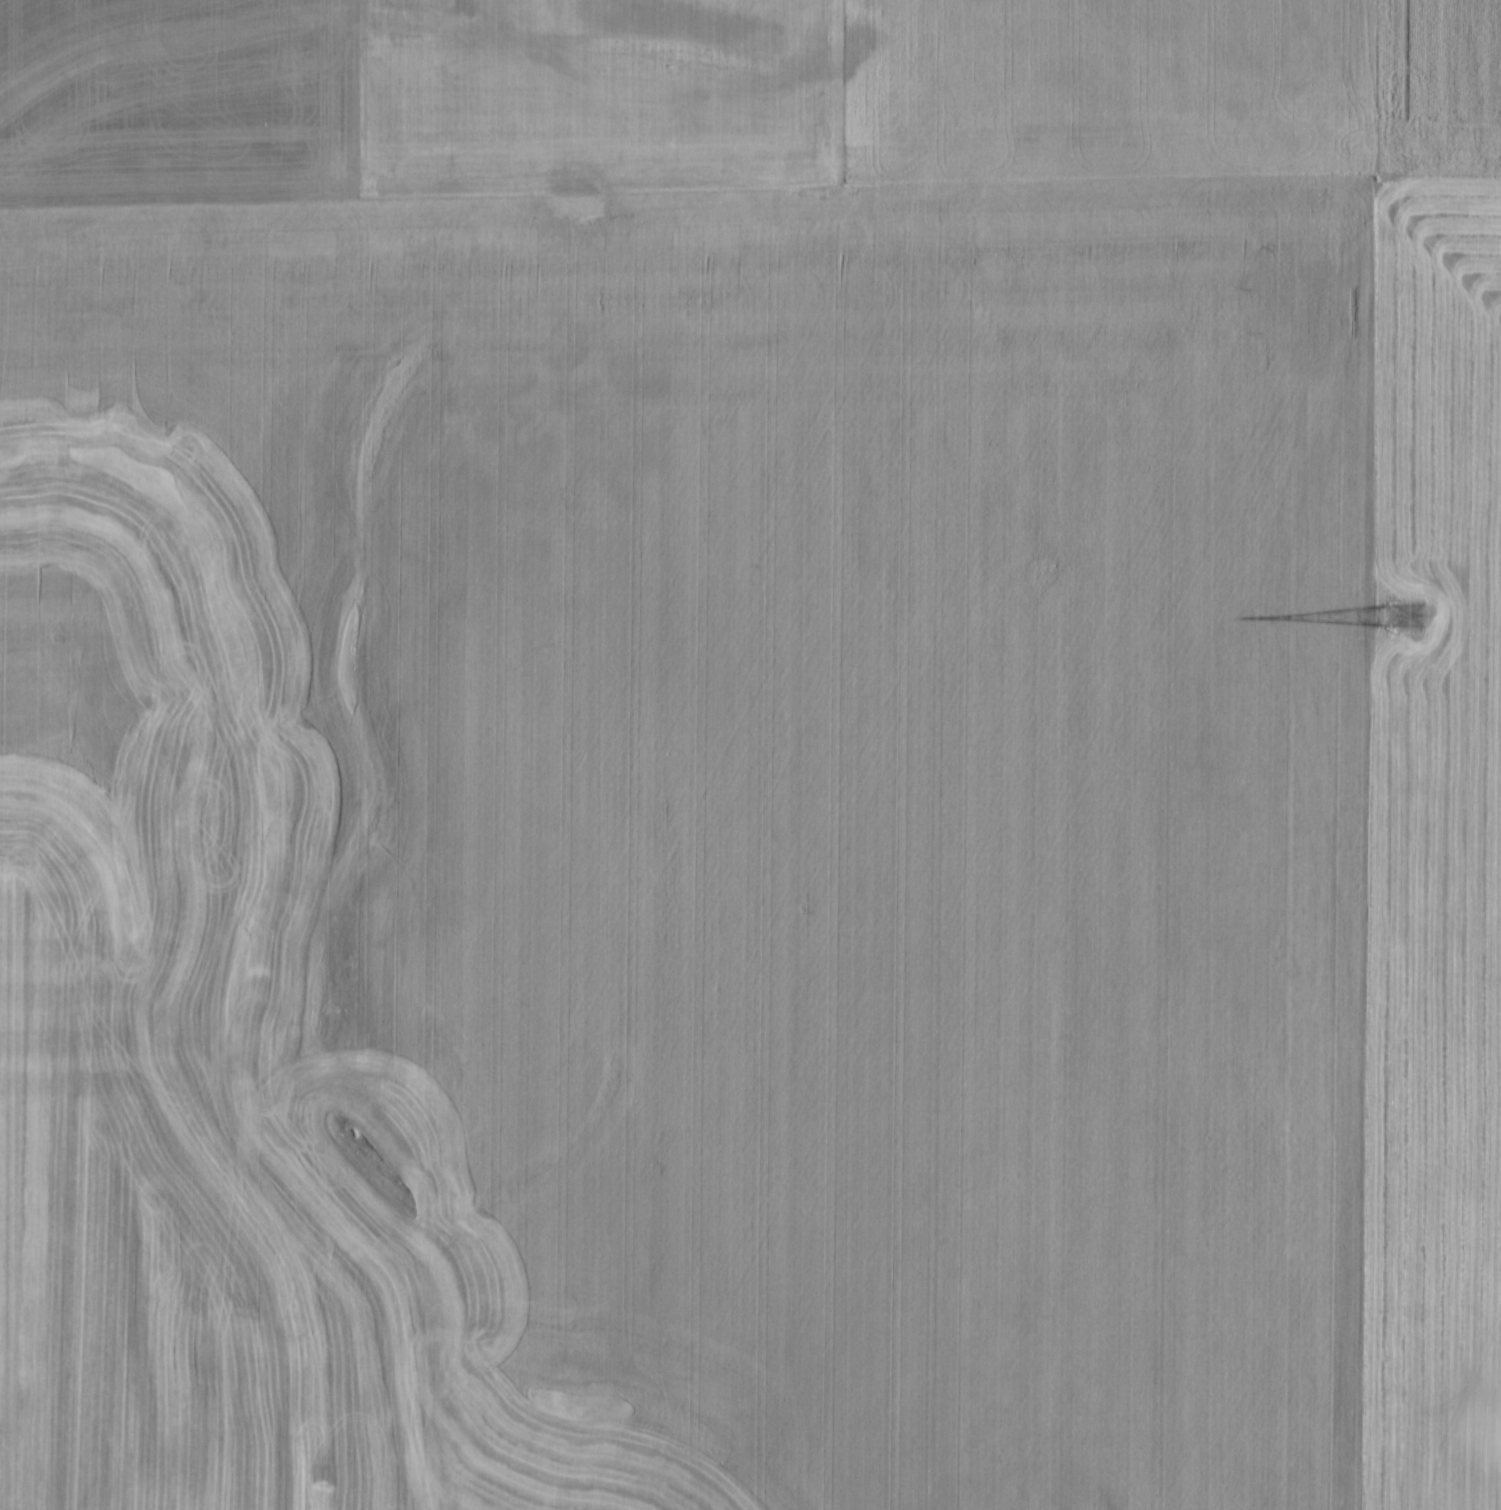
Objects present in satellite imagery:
power tower: (1407, 614)

